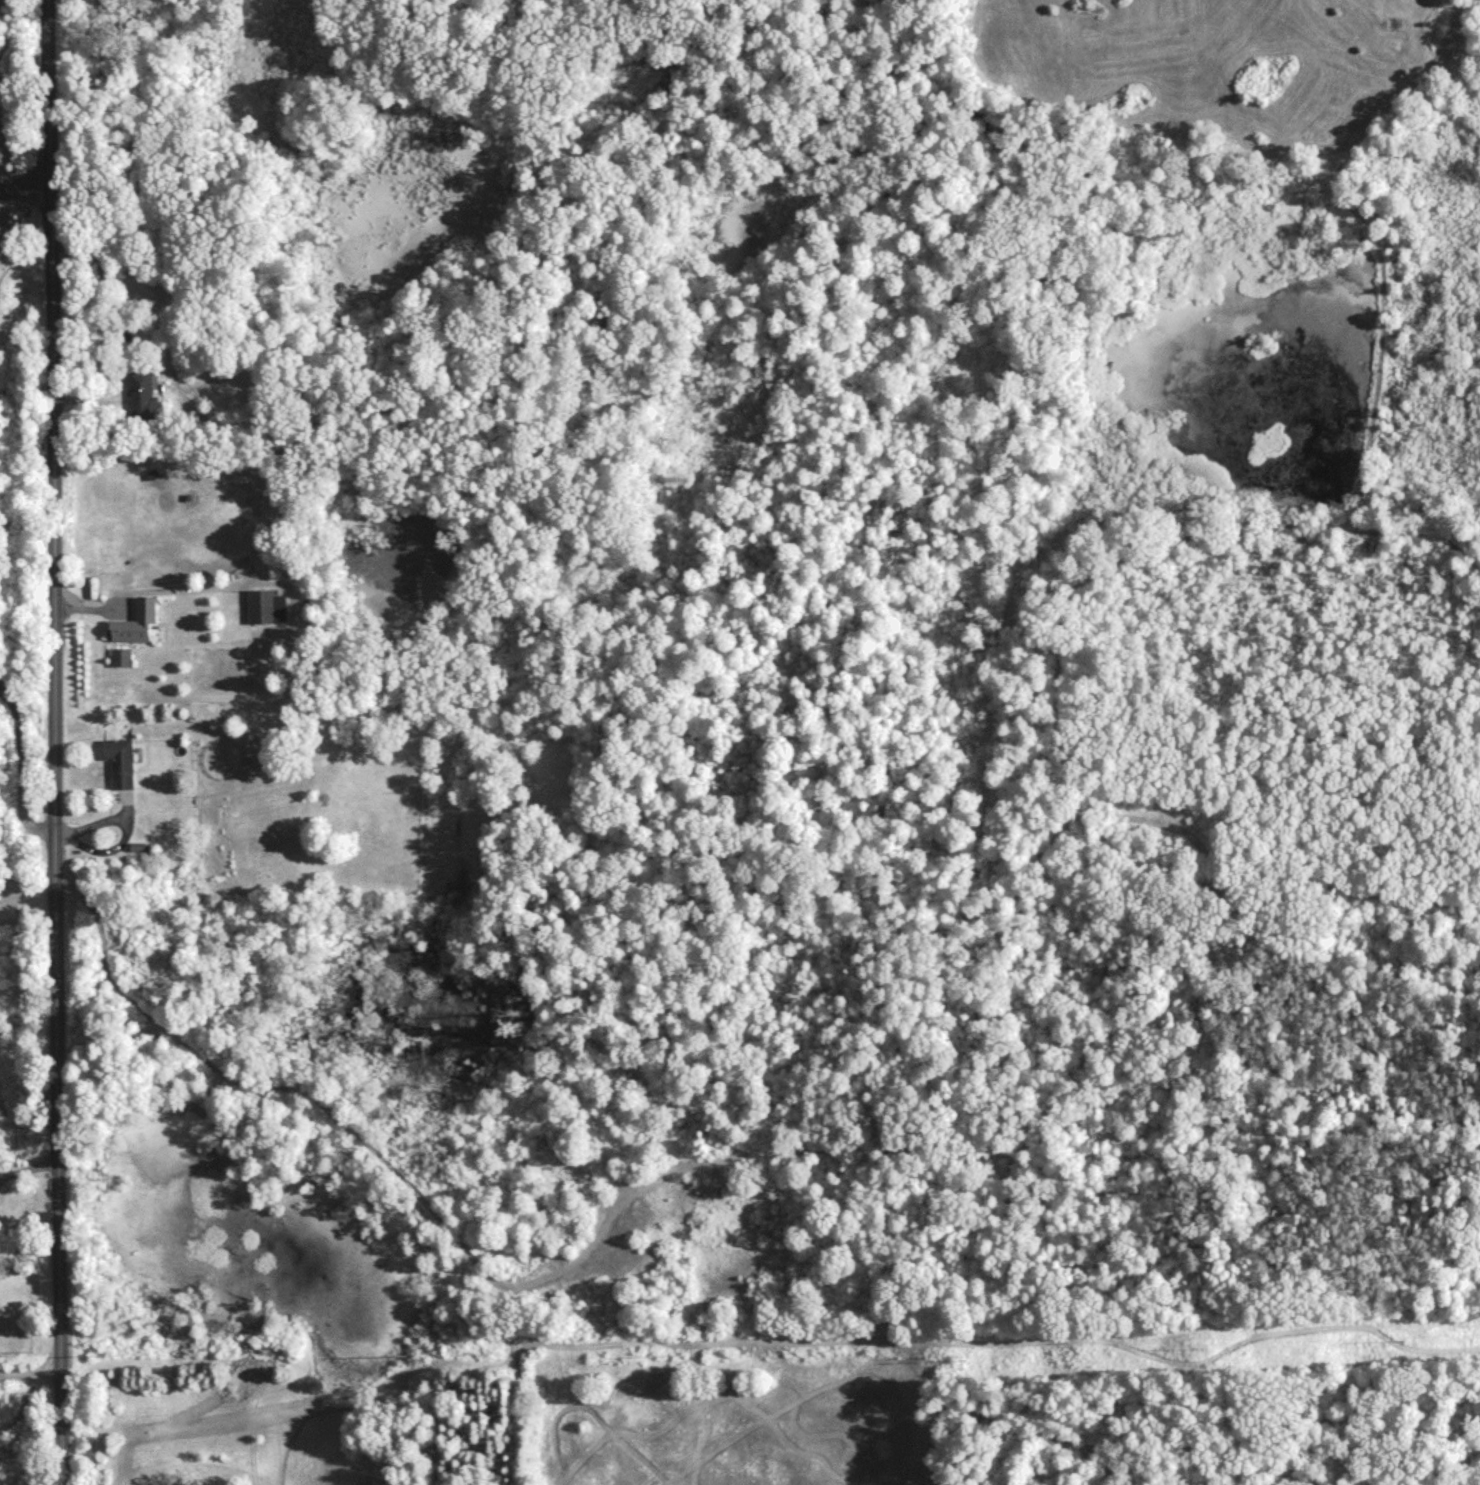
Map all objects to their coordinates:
road: (27, 187)
building: (142, 401)
building: (267, 612)
building: (134, 628)
building: (120, 662)
road: (59, 742)
building: (118, 767)
road: (21, 773)
road: (30, 892)
road: (30, 1171)
road: (32, 1377)

